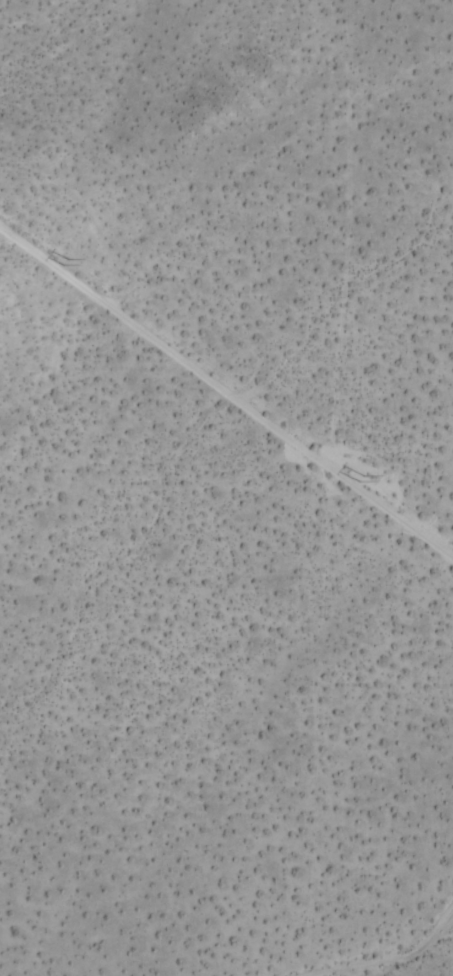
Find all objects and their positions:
power tower: (62, 262)
road: (226, 394)
power tower: (365, 481)

